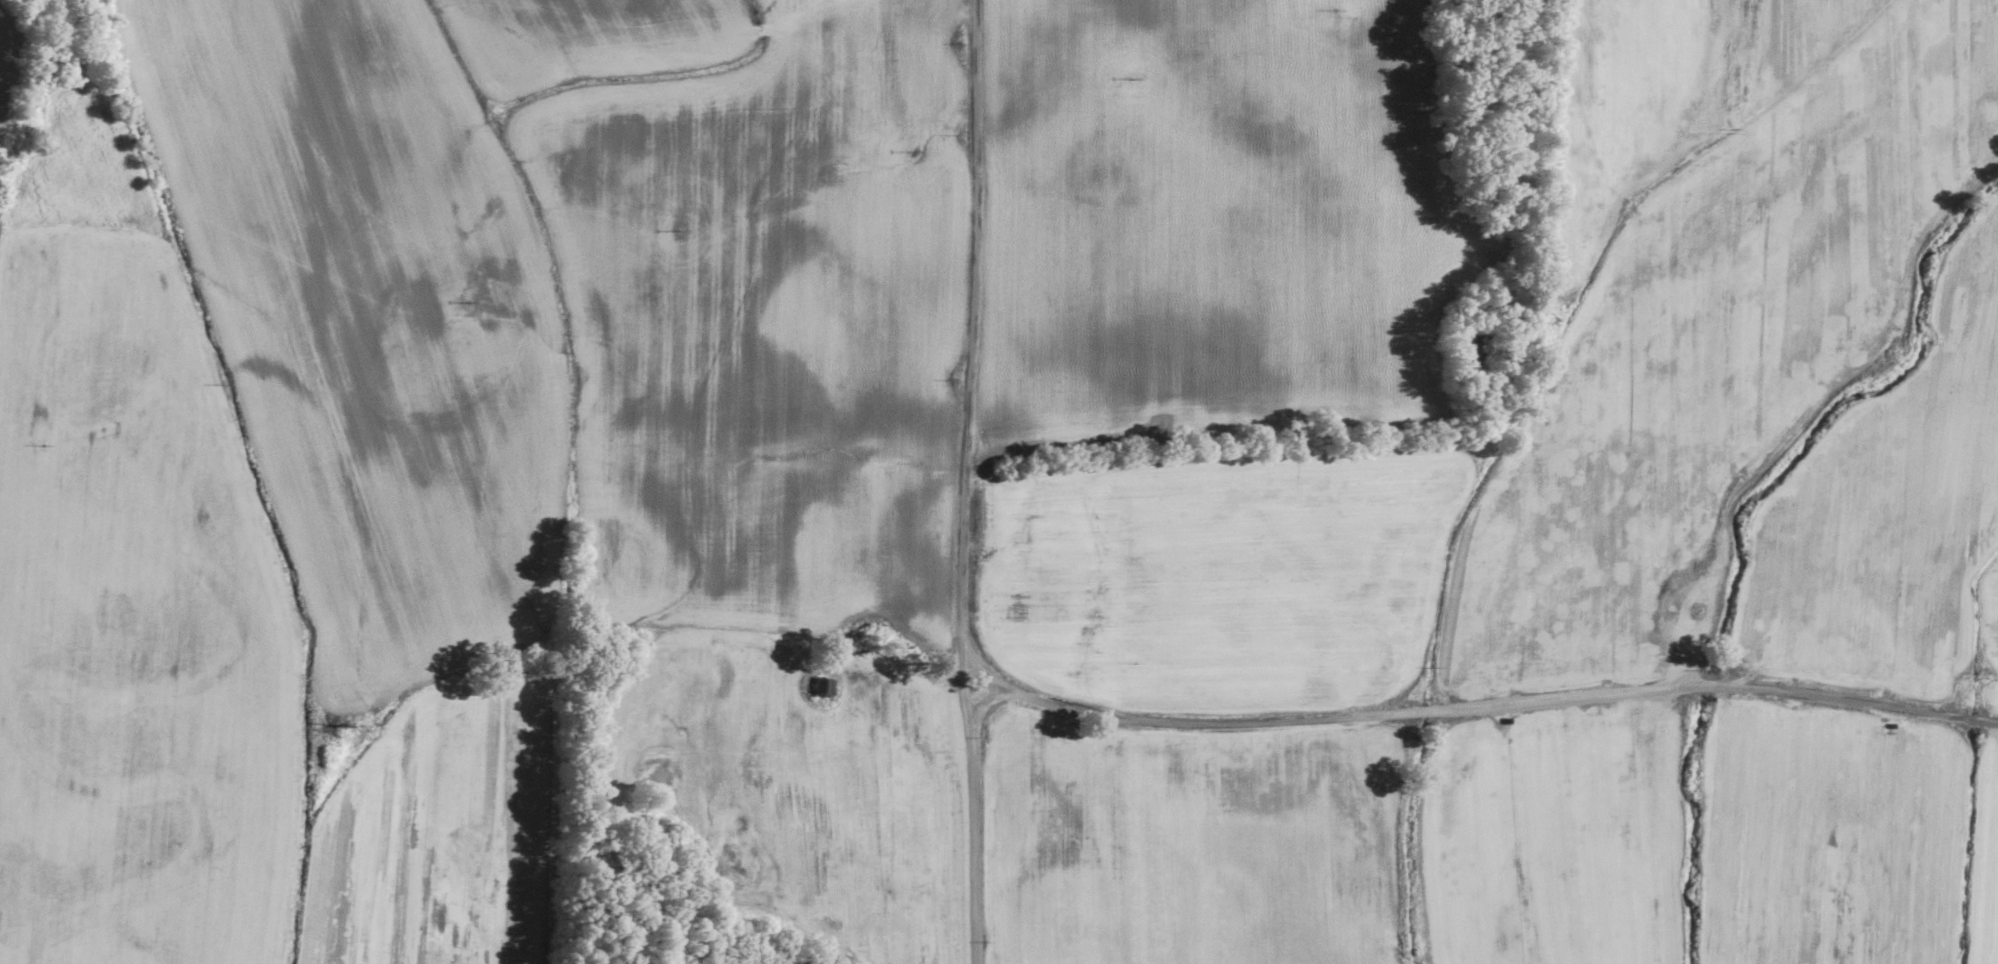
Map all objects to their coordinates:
road: (972, 341)
building: (821, 687)
road: (1481, 716)
road: (968, 823)

